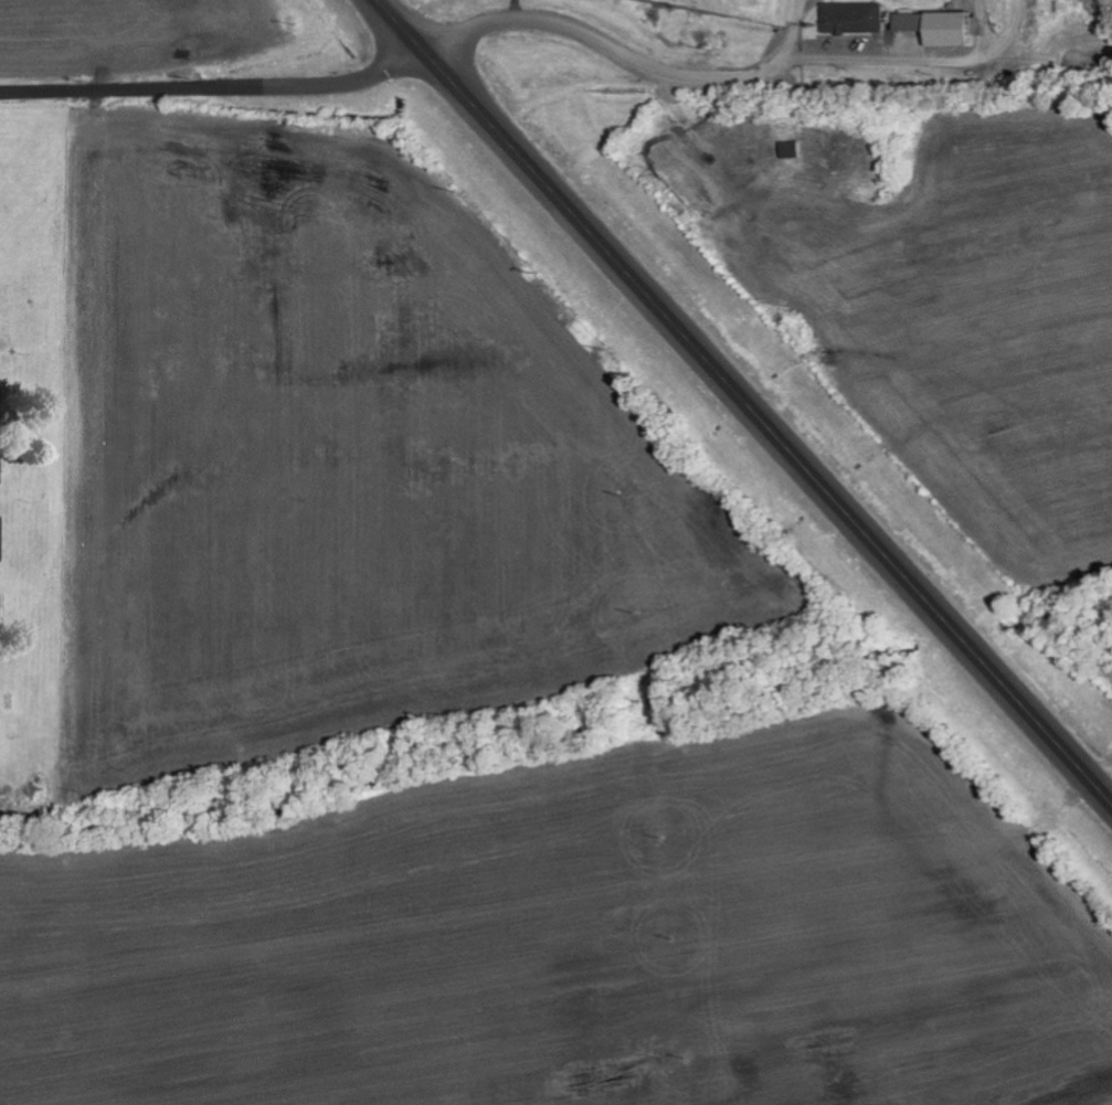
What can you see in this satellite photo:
building: (852, 18)
building: (934, 28)
road: (404, 64)
building: (788, 149)
road: (745, 401)
building: (0, 411)
building: (0, 470)
building: (2, 539)
building: (0, 606)

